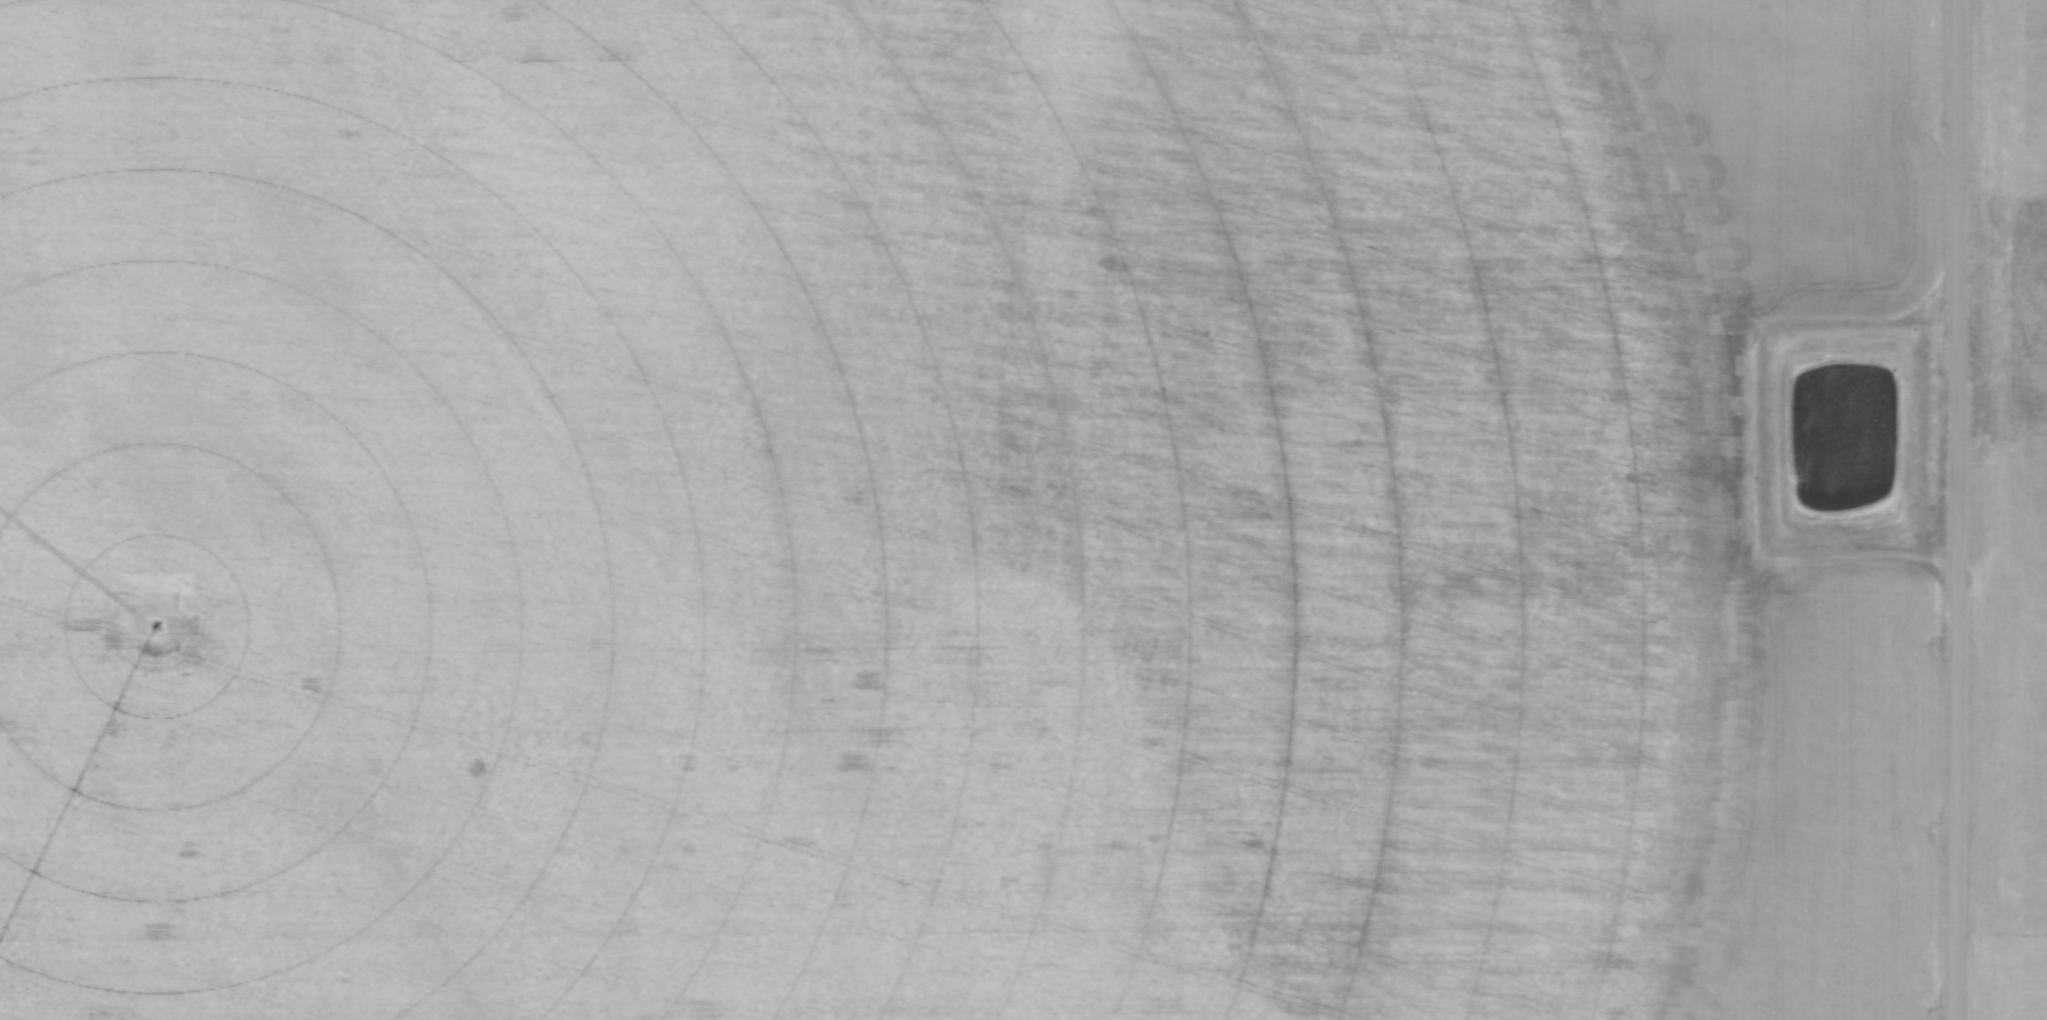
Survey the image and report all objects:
road: (1958, 510)
crop: (946, 511)
crop: (2010, 518)

